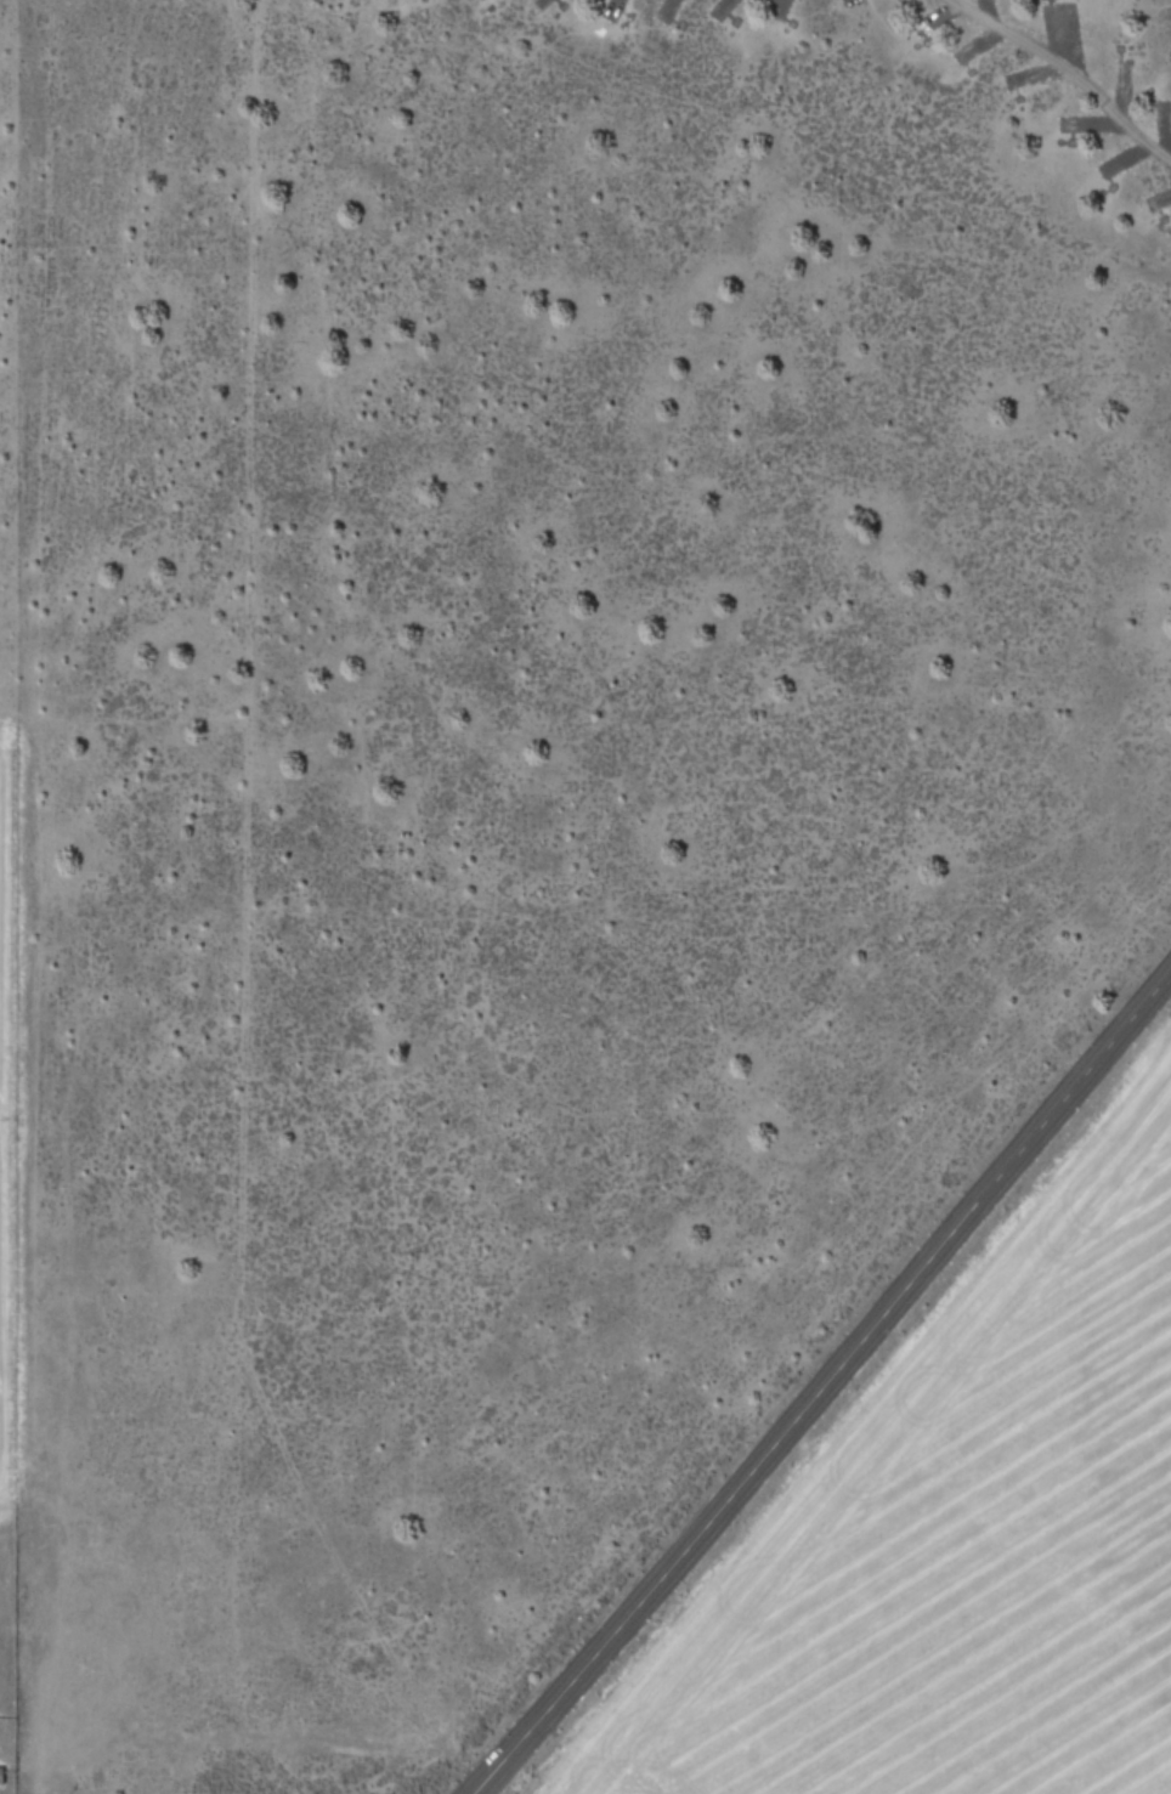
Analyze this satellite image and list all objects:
road: (1068, 72)
road: (825, 1385)
crop: (1, 1523)
crop: (950, 1536)
road: (277, 1737)
building: (1, 1775)

